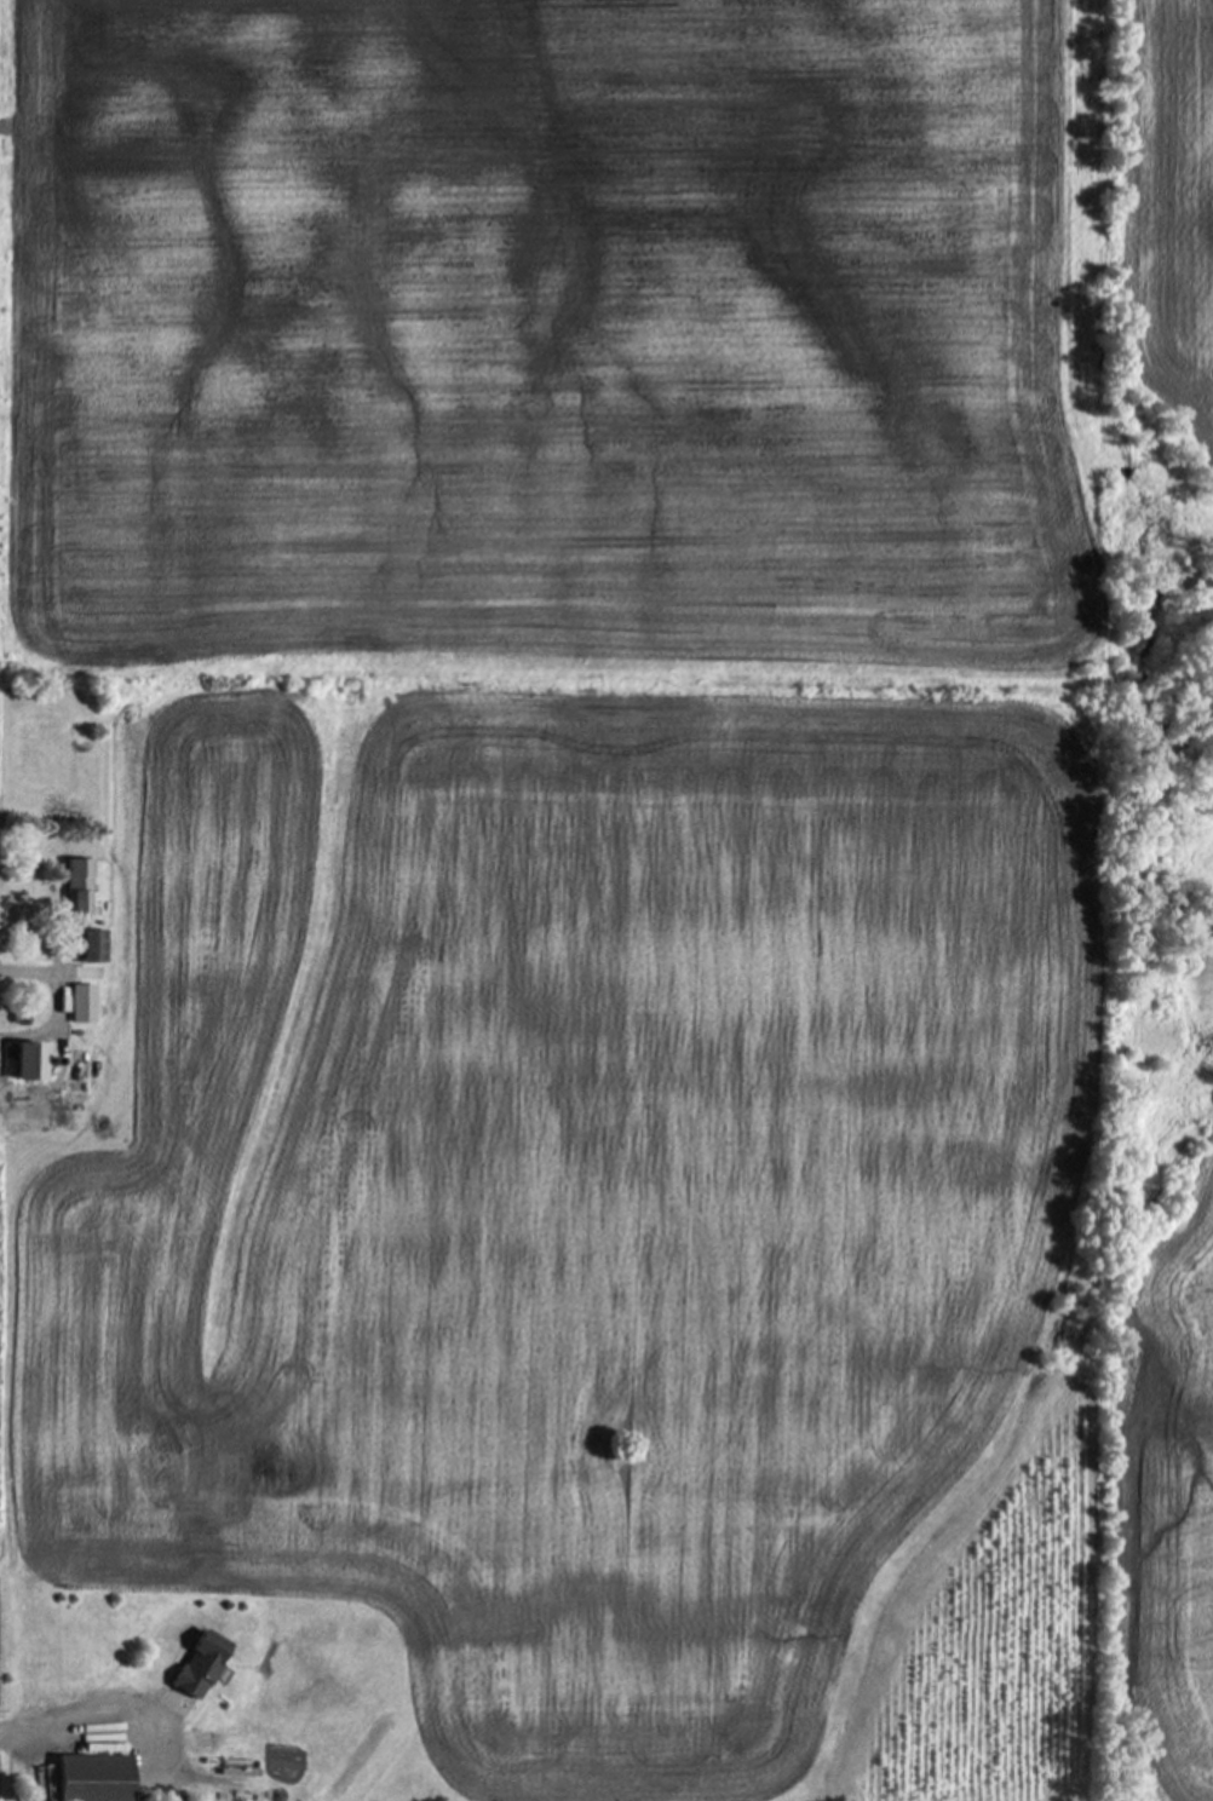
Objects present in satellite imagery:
building: (81, 901)
building: (97, 946)
road: (61, 1000)
building: (85, 1003)
building: (31, 1060)
building: (81, 1075)
building: (205, 1664)
road: (92, 1709)
building: (97, 1778)

